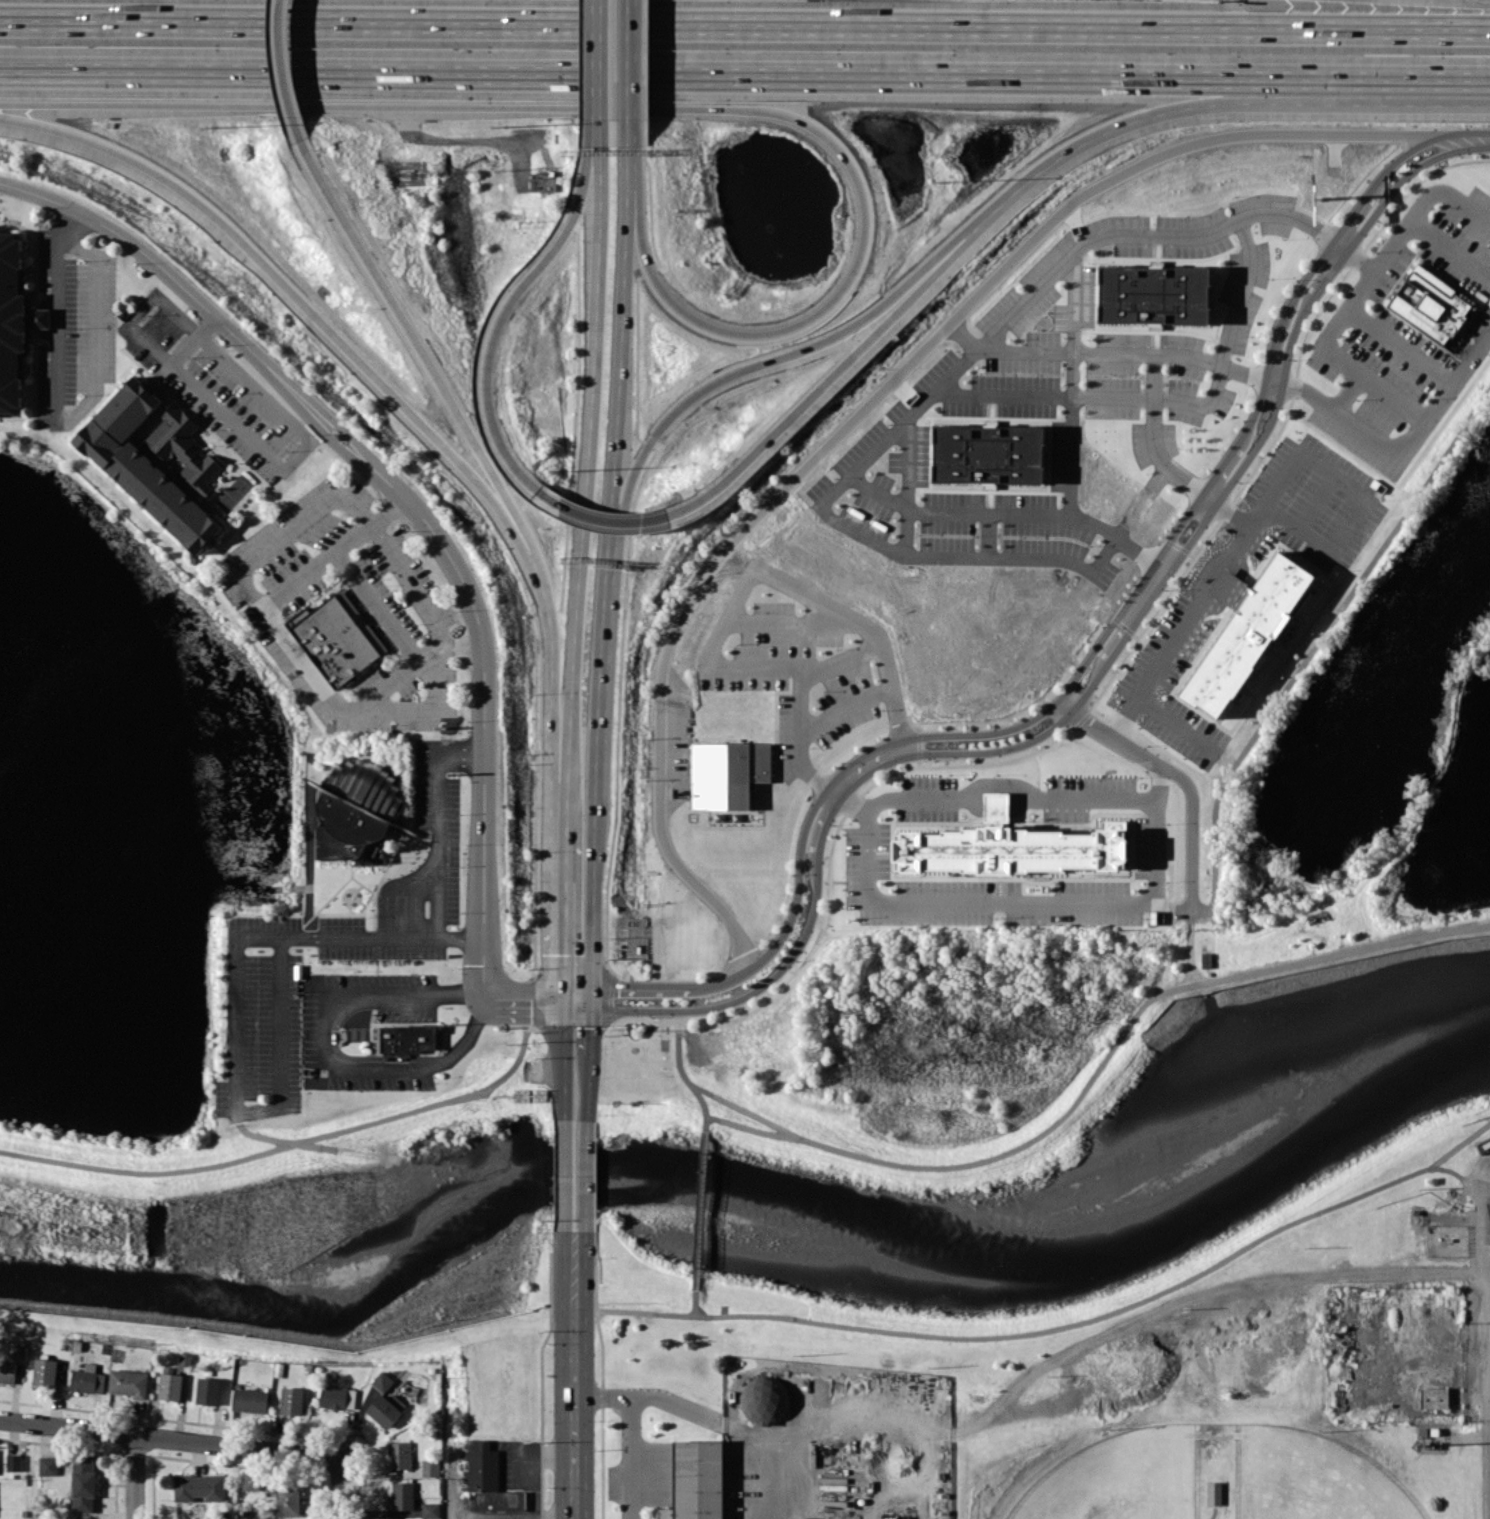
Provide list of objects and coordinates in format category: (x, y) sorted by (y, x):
road: (1488, 0)
road: (744, 23)
road: (598, 70)
road: (283, 71)
road: (630, 72)
road: (681, 74)
road: (1426, 79)
road: (668, 107)
road: (1173, 107)
street lamp: (504, 125)
road: (469, 139)
road: (1470, 142)
road: (630, 157)
road: (1407, 160)
building: (542, 184)
road: (1421, 198)
road: (1449, 245)
road: (1072, 283)
building: (1155, 294)
building: (1431, 304)
road: (305, 306)
road: (502, 311)
building: (11, 316)
road: (1329, 326)
road: (990, 333)
road: (1398, 344)
road: (427, 361)
road: (757, 361)
road: (844, 364)
road: (1184, 364)
road: (1248, 376)
road: (1215, 380)
road: (620, 384)
road: (1002, 395)
road: (1391, 397)
road: (867, 404)
road: (61, 423)
road: (1071, 435)
road: (1402, 453)
building: (989, 454)
road: (269, 458)
building: (159, 463)
road: (1355, 490)
road: (878, 491)
road: (582, 506)
road: (943, 513)
road: (601, 519)
road: (428, 527)
road: (906, 534)
road: (989, 536)
road: (331, 551)
road: (911, 556)
road: (234, 576)
building: (1229, 587)
road: (374, 604)
road: (1194, 608)
road: (814, 613)
road: (728, 618)
road: (763, 622)
building: (1249, 634)
building: (333, 639)
road: (1319, 641)
road: (414, 659)
road: (841, 659)
road: (602, 698)
road: (1456, 701)
road: (841, 708)
road: (1055, 719)
road: (550, 729)
building: (728, 773)
road: (1183, 778)
road: (1433, 781)
road: (1008, 782)
park: (1331, 789)
building: (359, 802)
road: (435, 822)
flagpole: (391, 857)
flagpole: (389, 864)
road: (1381, 865)
road: (595, 900)
road: (1011, 903)
road: (1190, 909)
road: (563, 938)
road: (1190, 947)
building: (1208, 955)
road: (365, 993)
traffic signals: (563, 1003)
road: (577, 1003)
traffic signals: (592, 1004)
road: (237, 1008)
parking lot: (262, 1019)
road: (588, 1025)
building: (406, 1038)
road: (568, 1060)
road: (438, 1063)
road: (579, 1082)
road: (702, 1105)
road: (1072, 1105)
road: (298, 1143)
road: (573, 1169)
road: (1489, 1191)
road: (702, 1205)
river: (732, 1206)
road: (1489, 1271)
road: (696, 1301)
road: (1055, 1327)
building: (19, 1352)
park: (1258, 1359)
building: (184, 1361)
road: (573, 1370)
building: (7, 1371)
building: (45, 1372)
building: (88, 1379)
building: (382, 1381)
building: (128, 1383)
building: (170, 1386)
building: (208, 1390)
building: (1435, 1395)
building: (337, 1397)
building: (250, 1400)
building: (292, 1400)
building: (764, 1400)
building: (386, 1409)
park: (1230, 1417)
road: (730, 1426)
road: (633, 1427)
road: (1488, 1427)
road: (169, 1438)
building: (399, 1455)
building: (14, 1462)
building: (48, 1465)
building: (430, 1467)
road: (134, 1476)
park: (1311, 1477)
park: (1118, 1478)
road: (451, 1479)
building: (251, 1480)
building: (490, 1481)
building: (698, 1481)
building: (83, 1483)
building: (199, 1487)
road: (339, 1488)
building: (1214, 1493)
building: (402, 1495)
building: (288, 1500)
building: (431, 1510)
road: (512, 1515)
building: (800, 1518)

